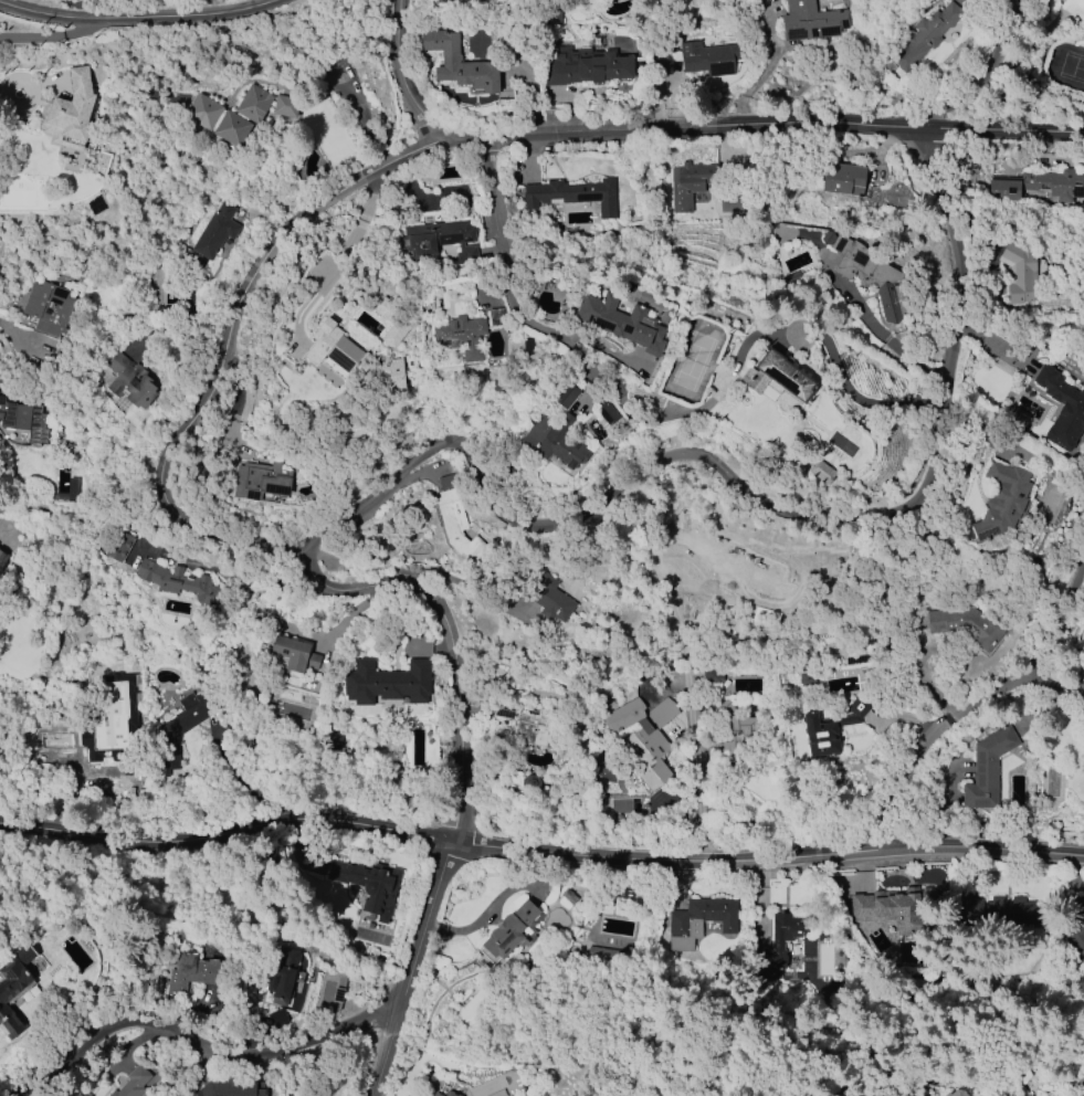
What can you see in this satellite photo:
building: (448, 0)
road: (78, 9)
road: (137, 20)
building: (811, 21)
building: (926, 35)
road: (49, 38)
building: (709, 57)
building: (459, 63)
building: (586, 65)
road: (10, 93)
building: (69, 113)
building: (229, 114)
road: (686, 131)
building: (843, 179)
building: (690, 183)
building: (1038, 185)
building: (572, 194)
building: (215, 231)
building: (441, 240)
road: (505, 247)
road: (343, 255)
building: (1019, 274)
building: (870, 275)
building: (49, 307)
building: (496, 316)
building: (622, 322)
building: (394, 334)
road: (17, 336)
building: (461, 336)
building: (519, 346)
road: (603, 350)
building: (396, 375)
building: (778, 376)
building: (131, 380)
building: (566, 394)
building: (1062, 408)
building: (25, 418)
building: (555, 440)
building: (821, 472)
road: (158, 478)
building: (261, 481)
building: (1002, 499)
road: (808, 516)
building: (455, 521)
building: (118, 546)
building: (2, 557)
building: (743, 565)
building: (175, 579)
building: (550, 598)
road: (1059, 620)
building: (965, 625)
building: (291, 652)
building: (713, 675)
building: (387, 682)
building: (872, 714)
building: (522, 725)
building: (831, 727)
building: (178, 730)
road: (928, 735)
building: (739, 738)
building: (331, 739)
building: (643, 739)
road: (697, 766)
building: (987, 769)
road: (459, 787)
road: (540, 852)
building: (368, 885)
building: (888, 907)
building: (1013, 911)
road: (486, 913)
building: (699, 921)
building: (1074, 923)
building: (513, 930)
building: (777, 945)
building: (606, 957)
road: (408, 968)
building: (192, 971)
building: (283, 972)
building: (12, 989)
building: (277, 1019)
road: (201, 1044)
building: (133, 1083)
building: (230, 1088)
building: (957, 1093)
building: (449, 1094)
building: (438, 1095)

